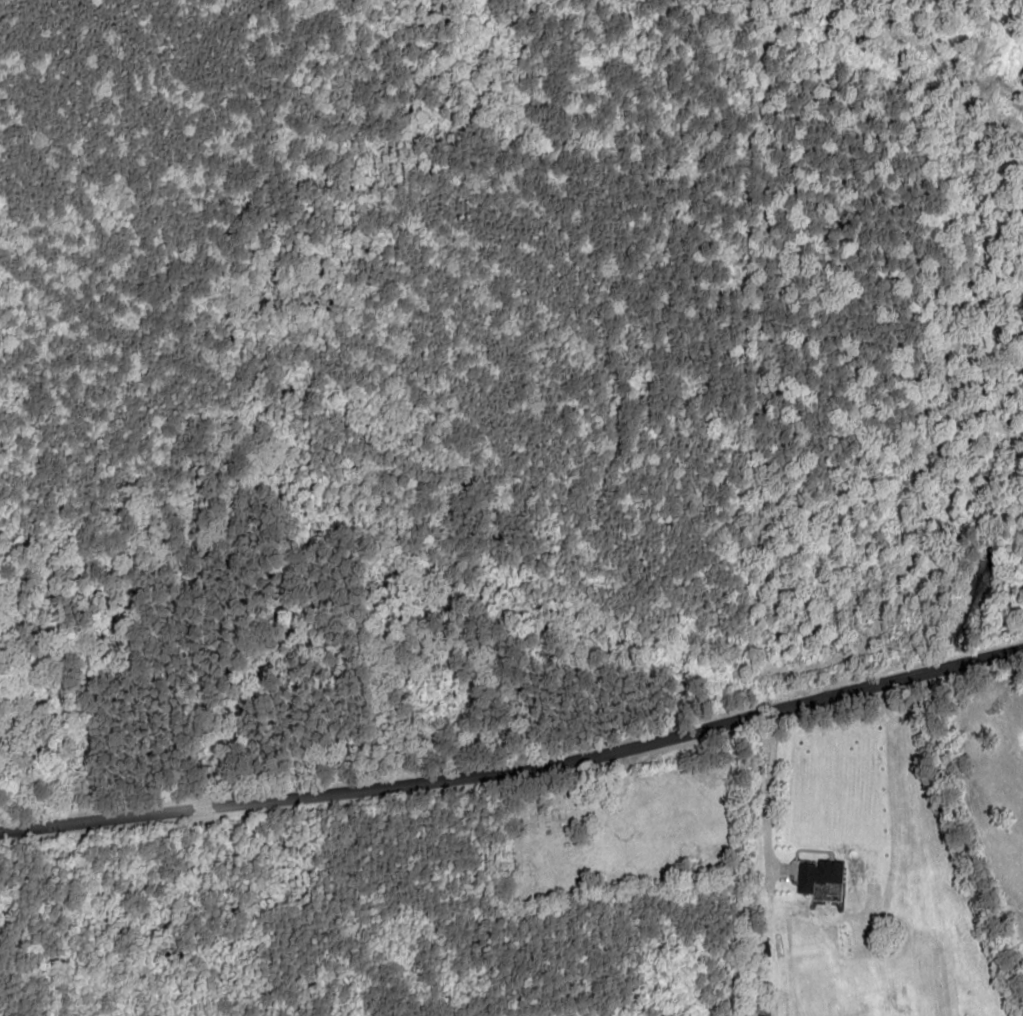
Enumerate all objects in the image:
road: (516, 766)
building: (817, 873)

